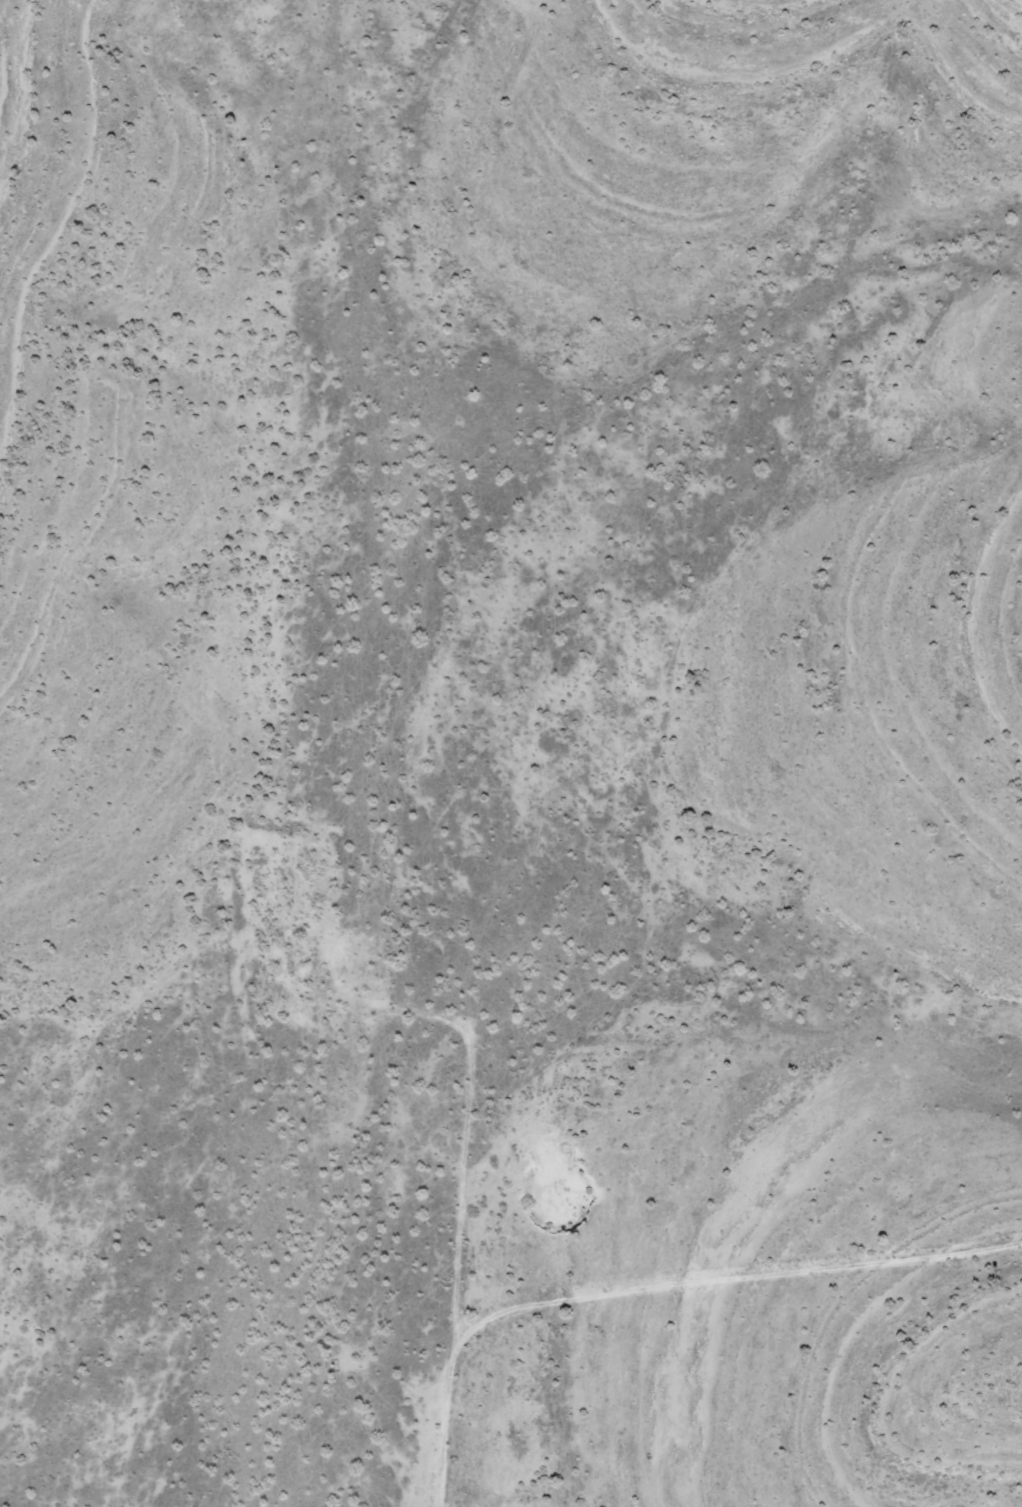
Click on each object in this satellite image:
road: (462, 1233)

